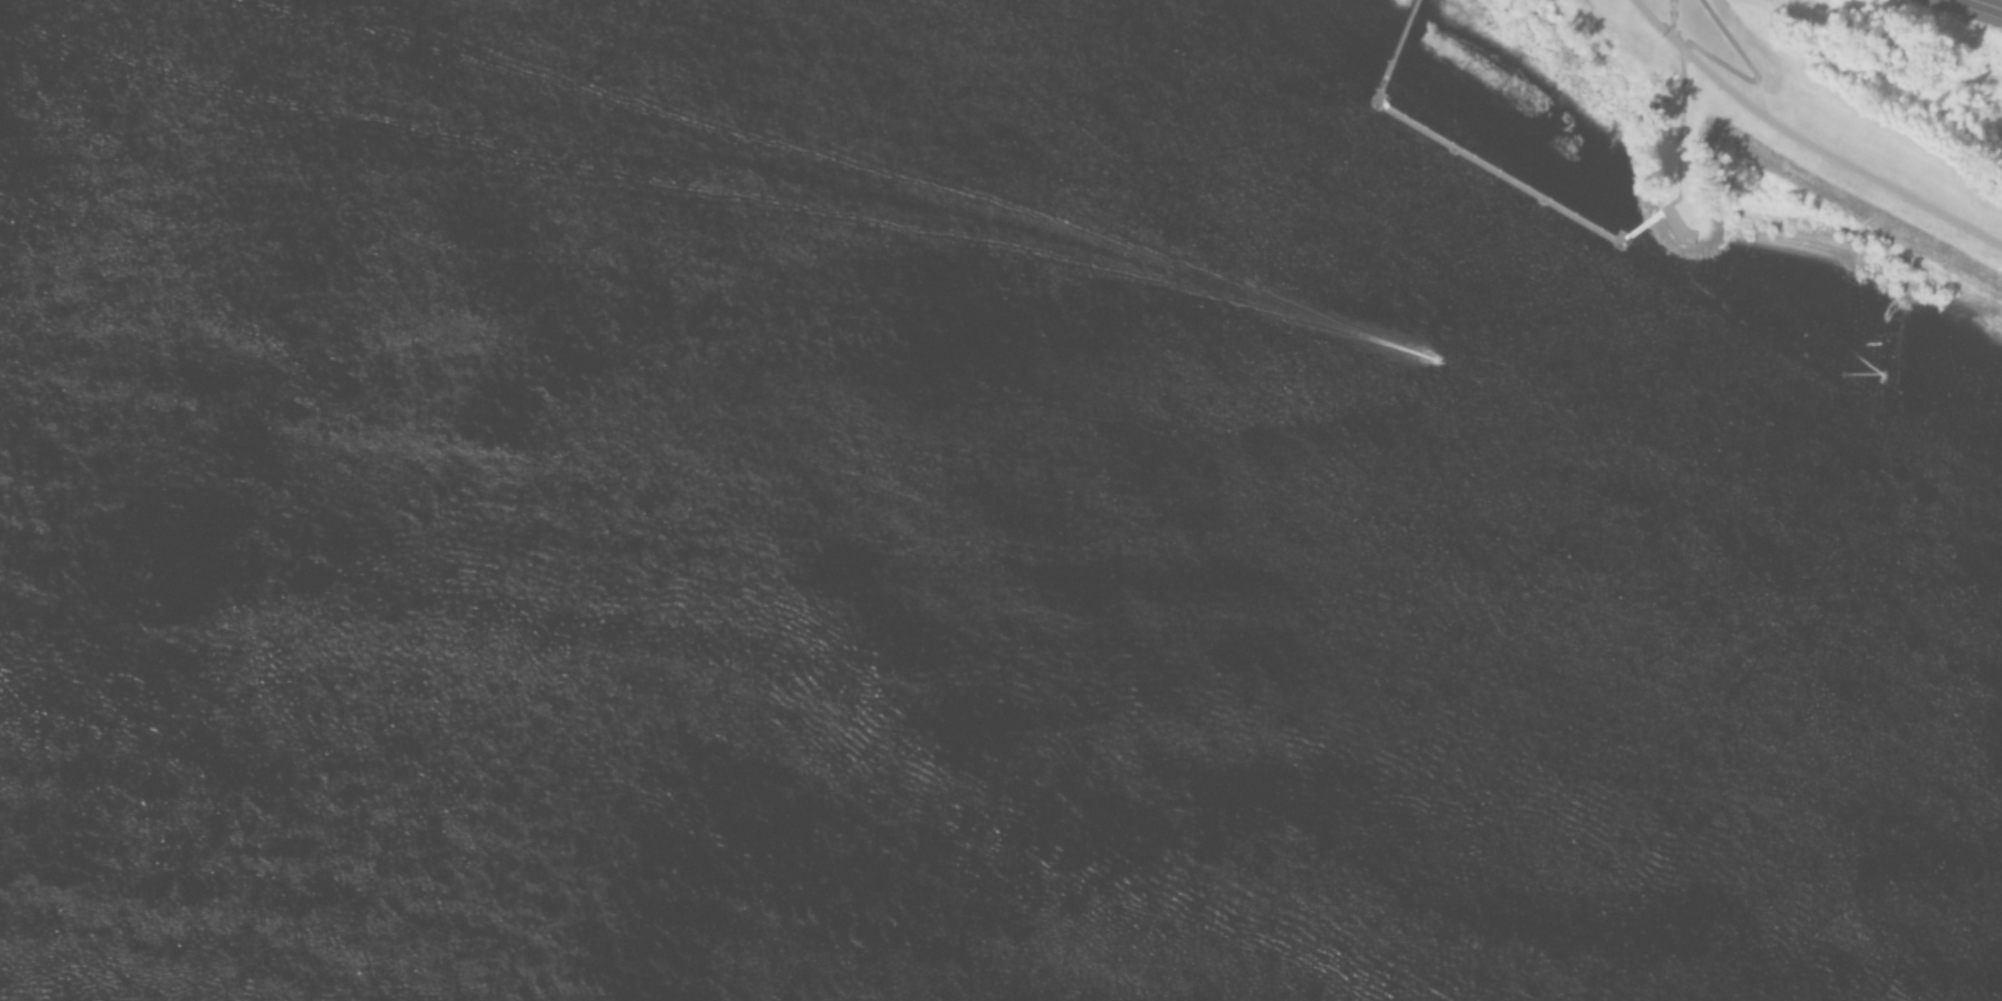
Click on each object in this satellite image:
road: (1988, 4)
road: (1748, 66)
pier: (1420, 131)
road: (1685, 133)
road: (1805, 141)
road: (1468, 158)

